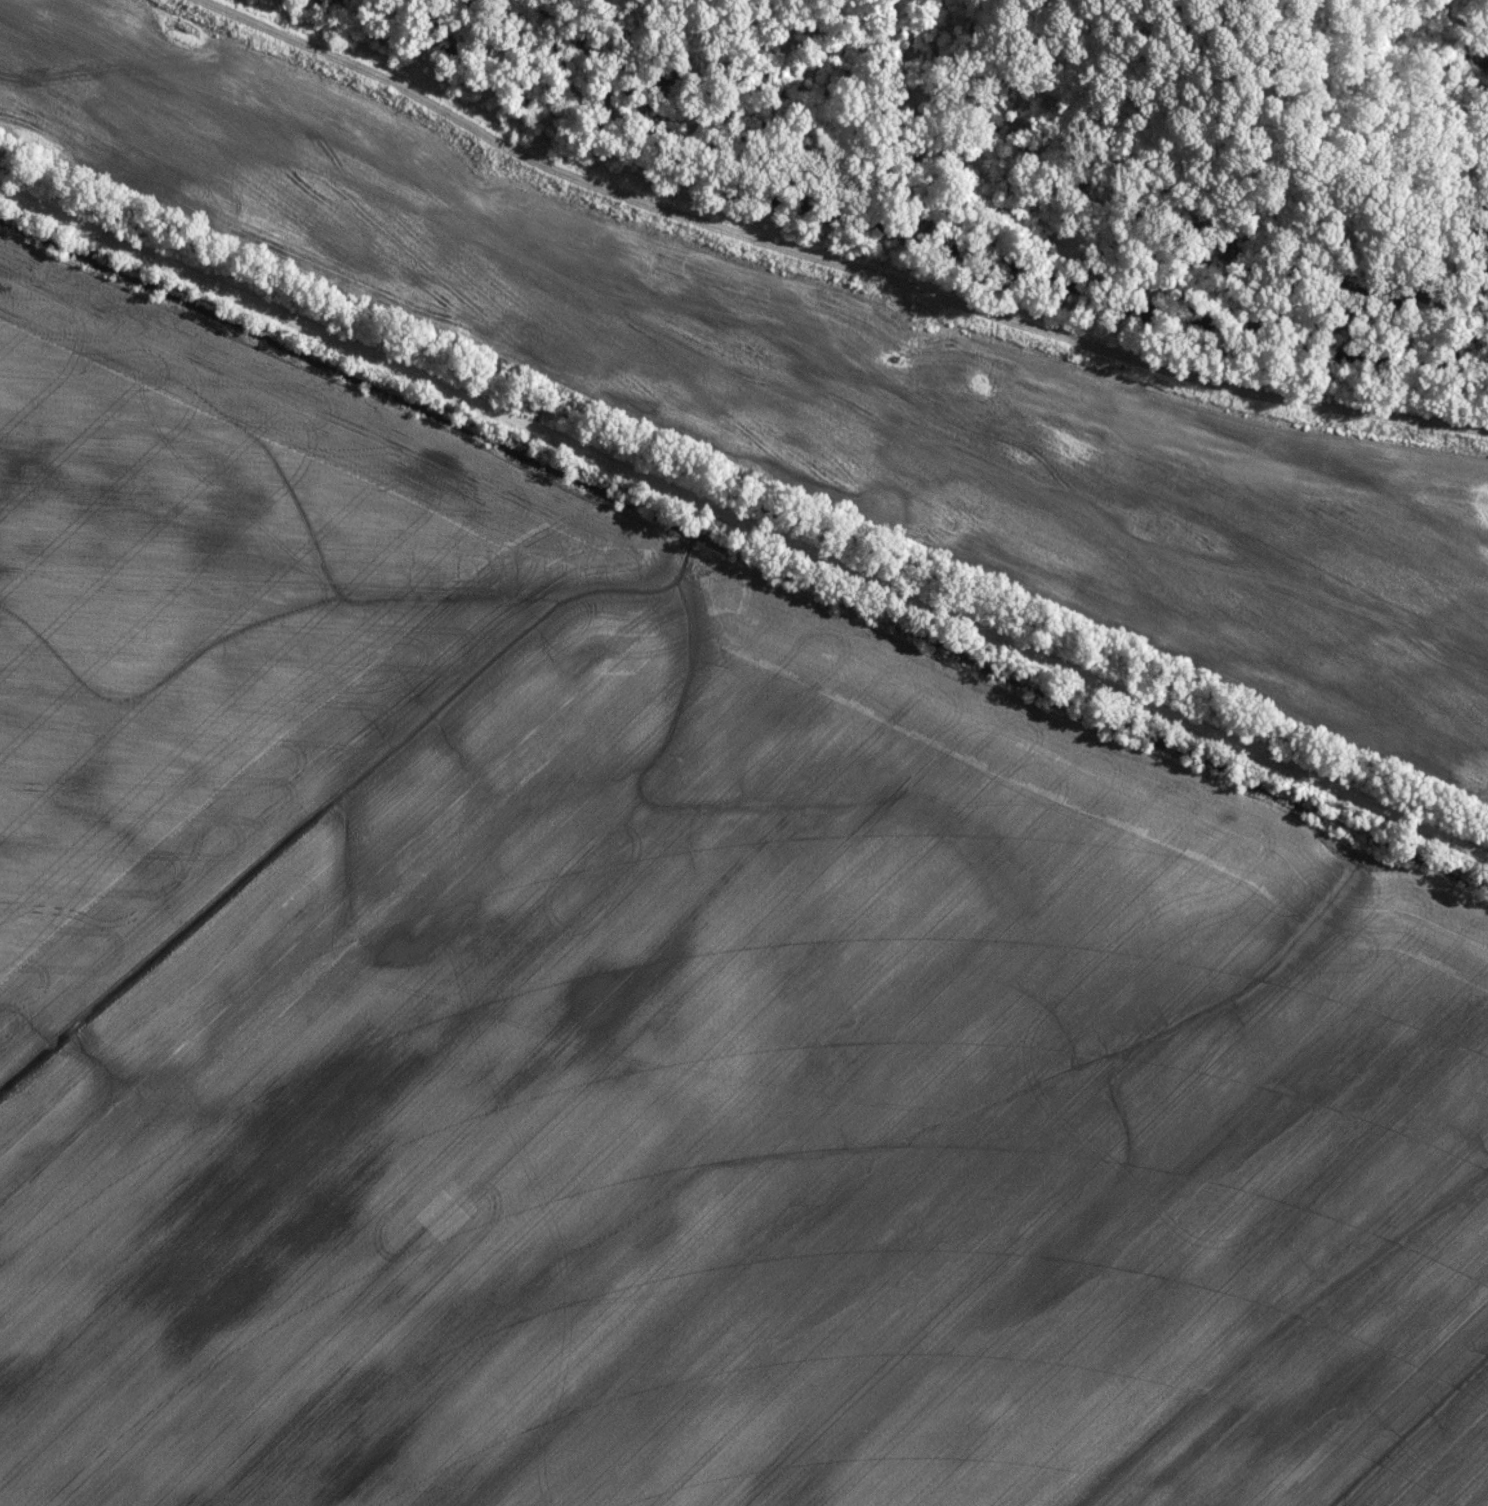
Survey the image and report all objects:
road: (743, 525)

